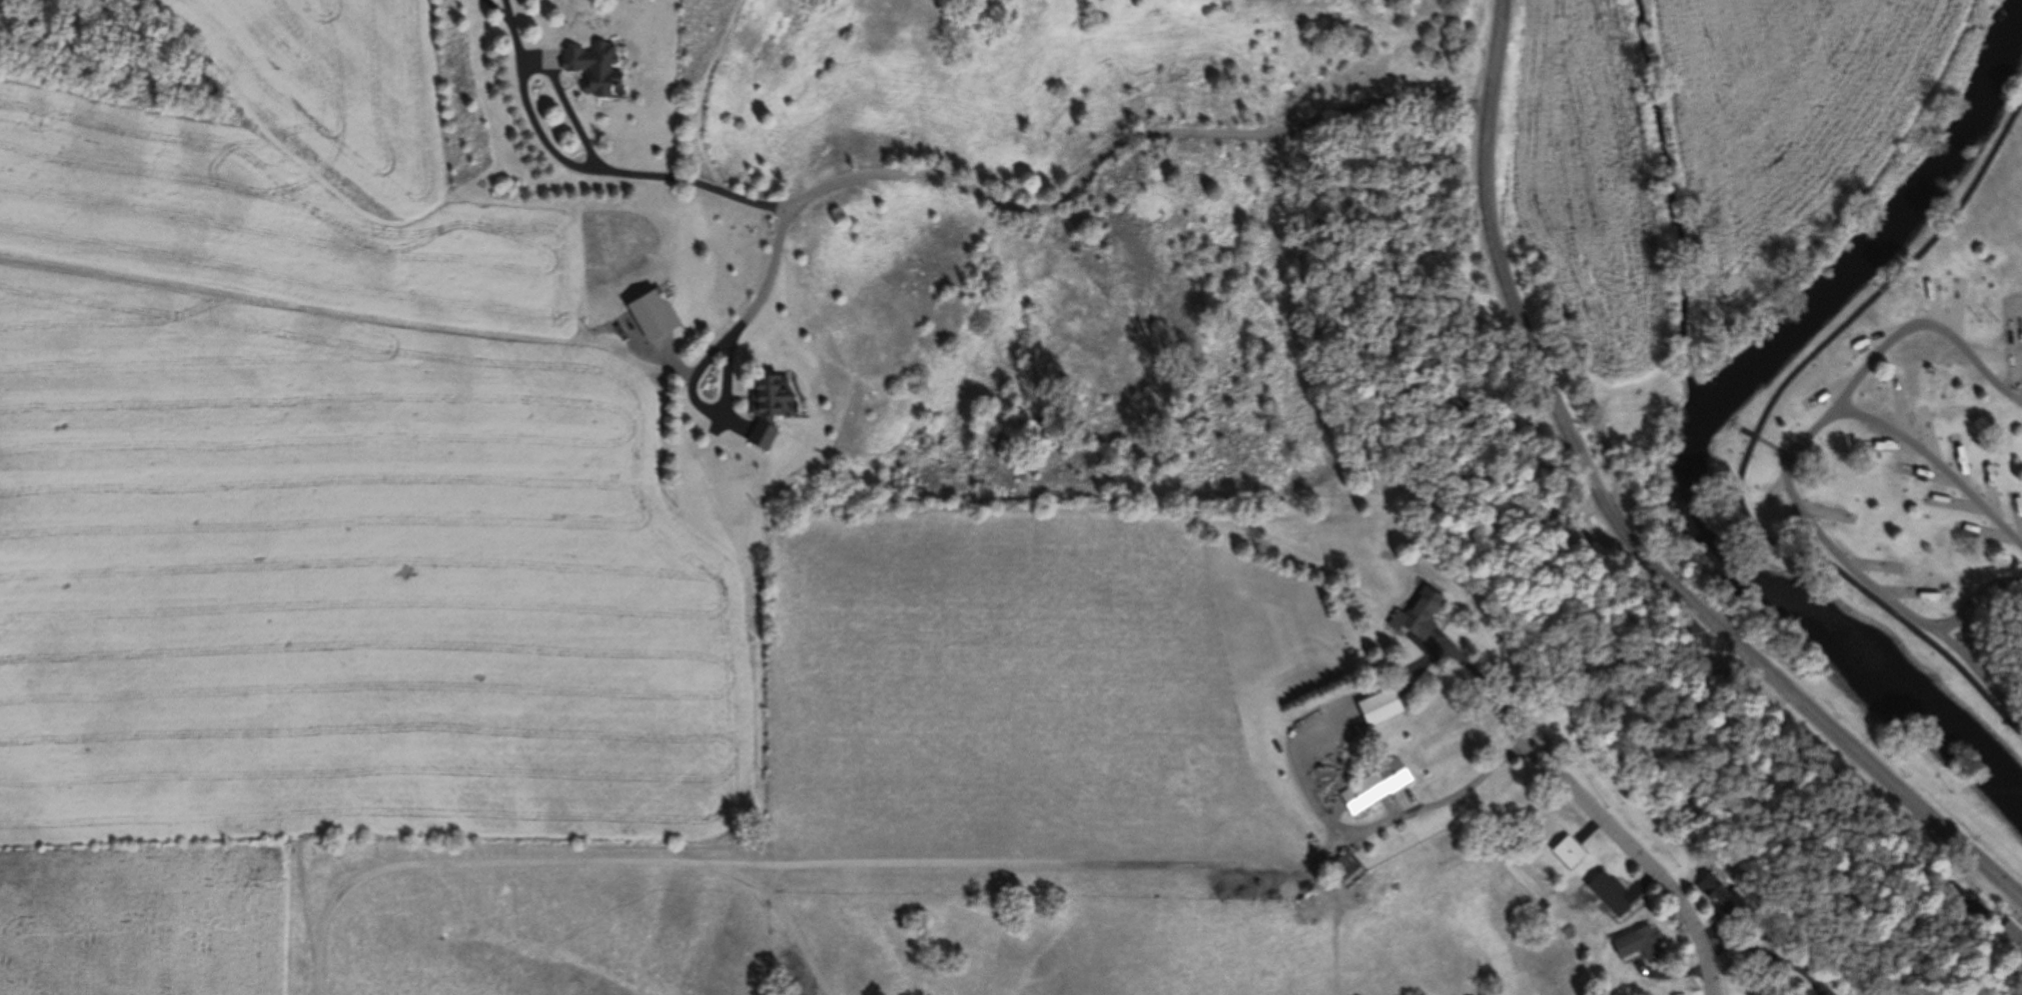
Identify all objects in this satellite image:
road: (508, 9)
building: (591, 66)
park: (2020, 71)
road: (567, 104)
road: (541, 132)
road: (1080, 172)
road: (1333, 204)
road: (774, 248)
road: (1509, 290)
road: (1933, 298)
road: (1958, 303)
road: (1879, 331)
road: (1970, 350)
road: (700, 365)
road: (726, 375)
road: (1831, 389)
road: (1899, 404)
building: (764, 412)
river: (1701, 421)
road: (1929, 430)
park: (1623, 432)
park: (1909, 433)
road: (1754, 435)
road: (1761, 437)
building: (1514, 440)
road: (1891, 443)
road: (1811, 455)
road: (1607, 456)
road: (1936, 459)
road: (1960, 459)
road: (1927, 470)
road: (1788, 478)
road: (1778, 482)
building: (1544, 485)
road: (1991, 488)
road: (1956, 499)
road: (1825, 508)
road: (2019, 509)
road: (1796, 514)
road: (1987, 529)
road: (1591, 534)
road: (1876, 563)
road: (1912, 589)
road: (2011, 591)
road: (1973, 593)
building: (1417, 614)
building: (1691, 631)
road: (1978, 636)
road: (1951, 640)
building: (1717, 659)
road: (1992, 659)
road: (1980, 667)
road: (1484, 689)
road: (2013, 689)
building: (1375, 709)
road: (1831, 724)
building: (1370, 788)
road: (1312, 805)
building: (1565, 854)
road: (1638, 858)
road: (793, 867)
building: (1341, 869)
building: (1606, 894)
building: (1970, 901)
building: (1719, 904)
building: (2013, 934)
building: (1636, 945)
road: (1764, 957)
road: (1667, 976)
road: (1818, 992)

